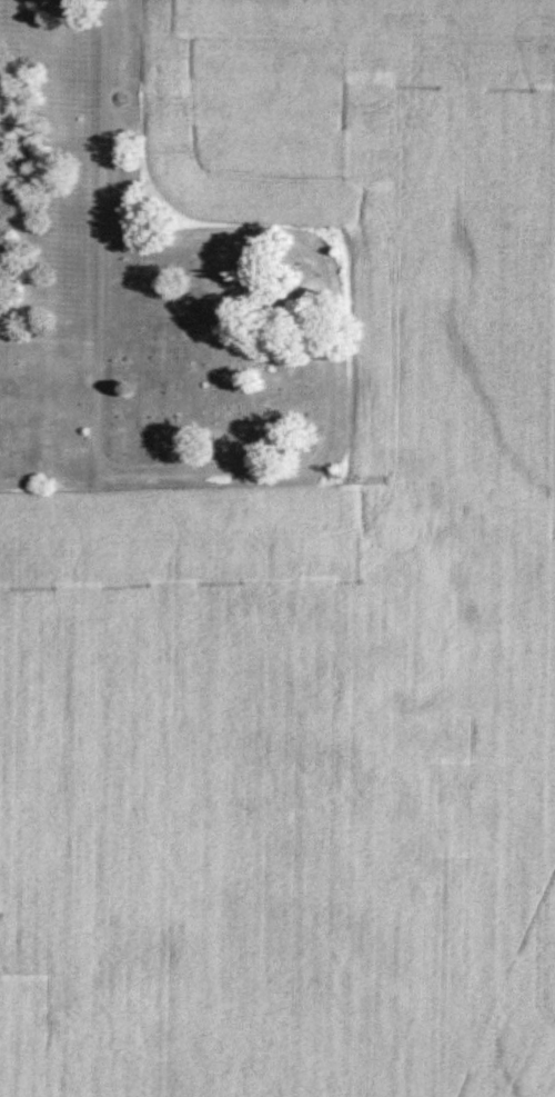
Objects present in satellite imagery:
park: (148, 291)

